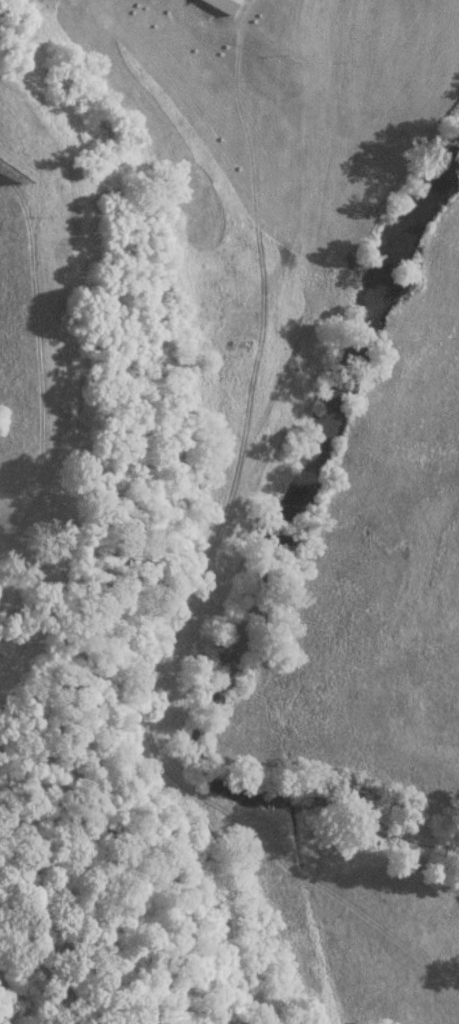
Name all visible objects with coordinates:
building: (214, 7)

